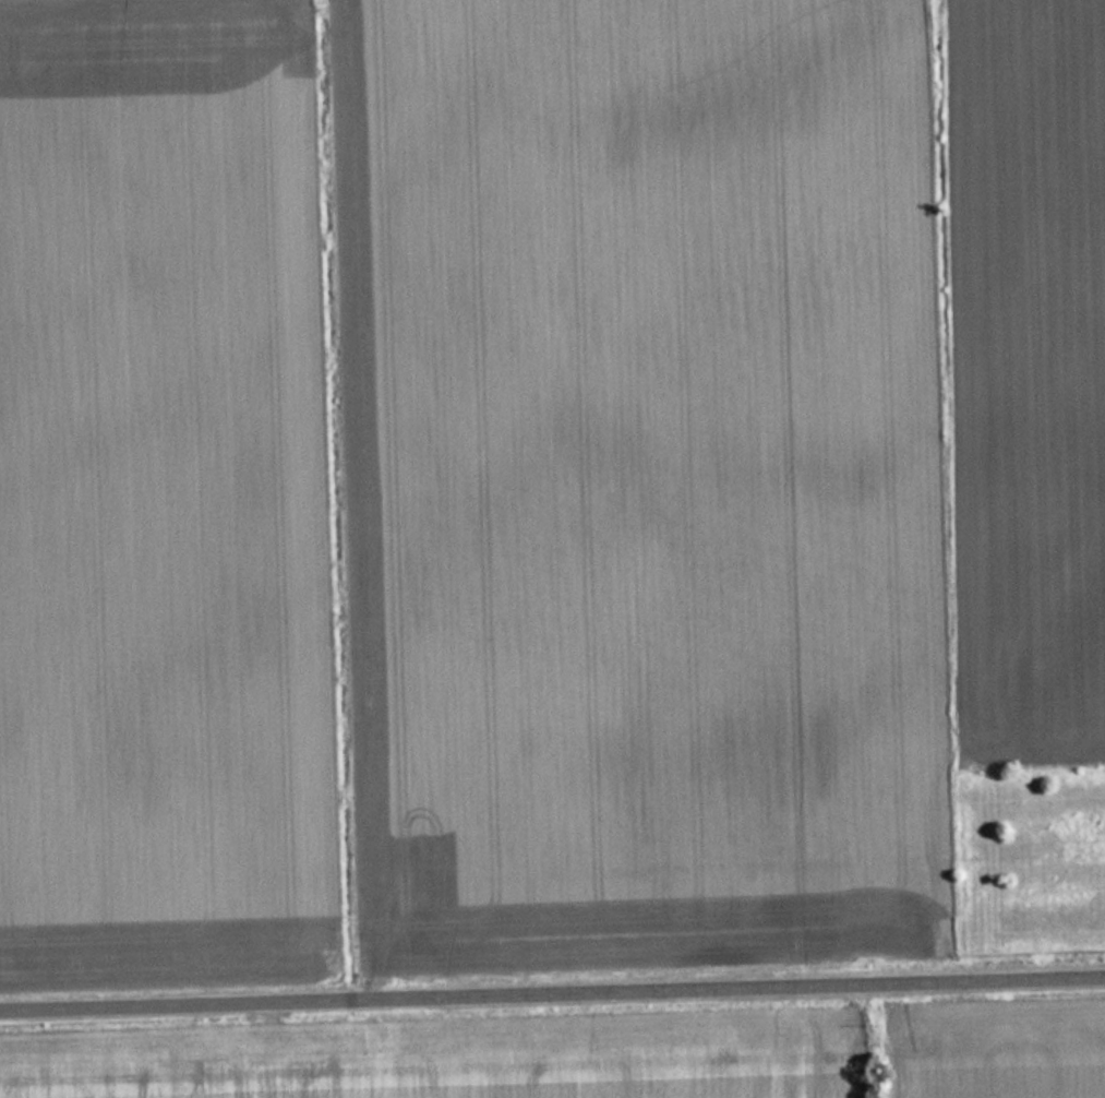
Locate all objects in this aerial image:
road: (361, 499)
road: (552, 993)

